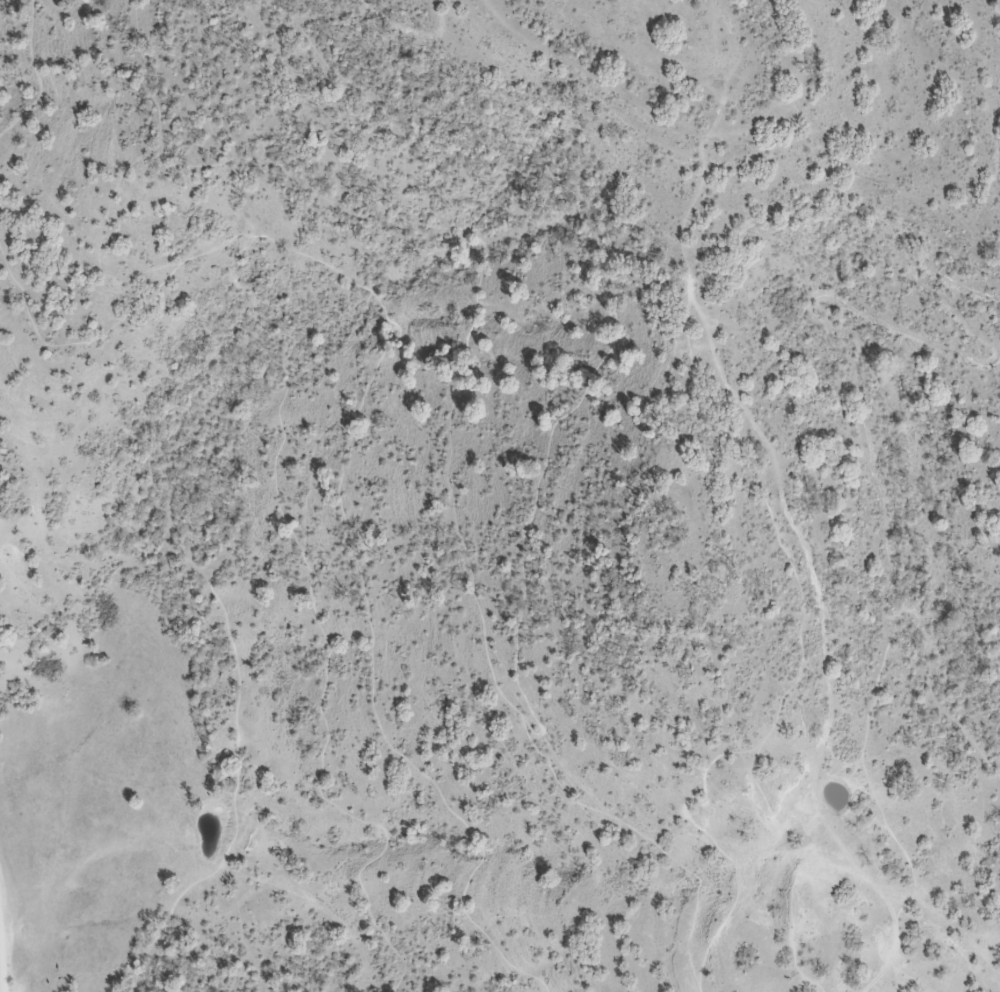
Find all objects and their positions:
road: (411, 30)
road: (39, 73)
road: (786, 96)
road: (273, 364)
road: (345, 437)
road: (800, 590)
road: (497, 682)
road: (865, 734)
road: (640, 832)
road: (154, 855)
road: (165, 923)
road: (2, 960)

